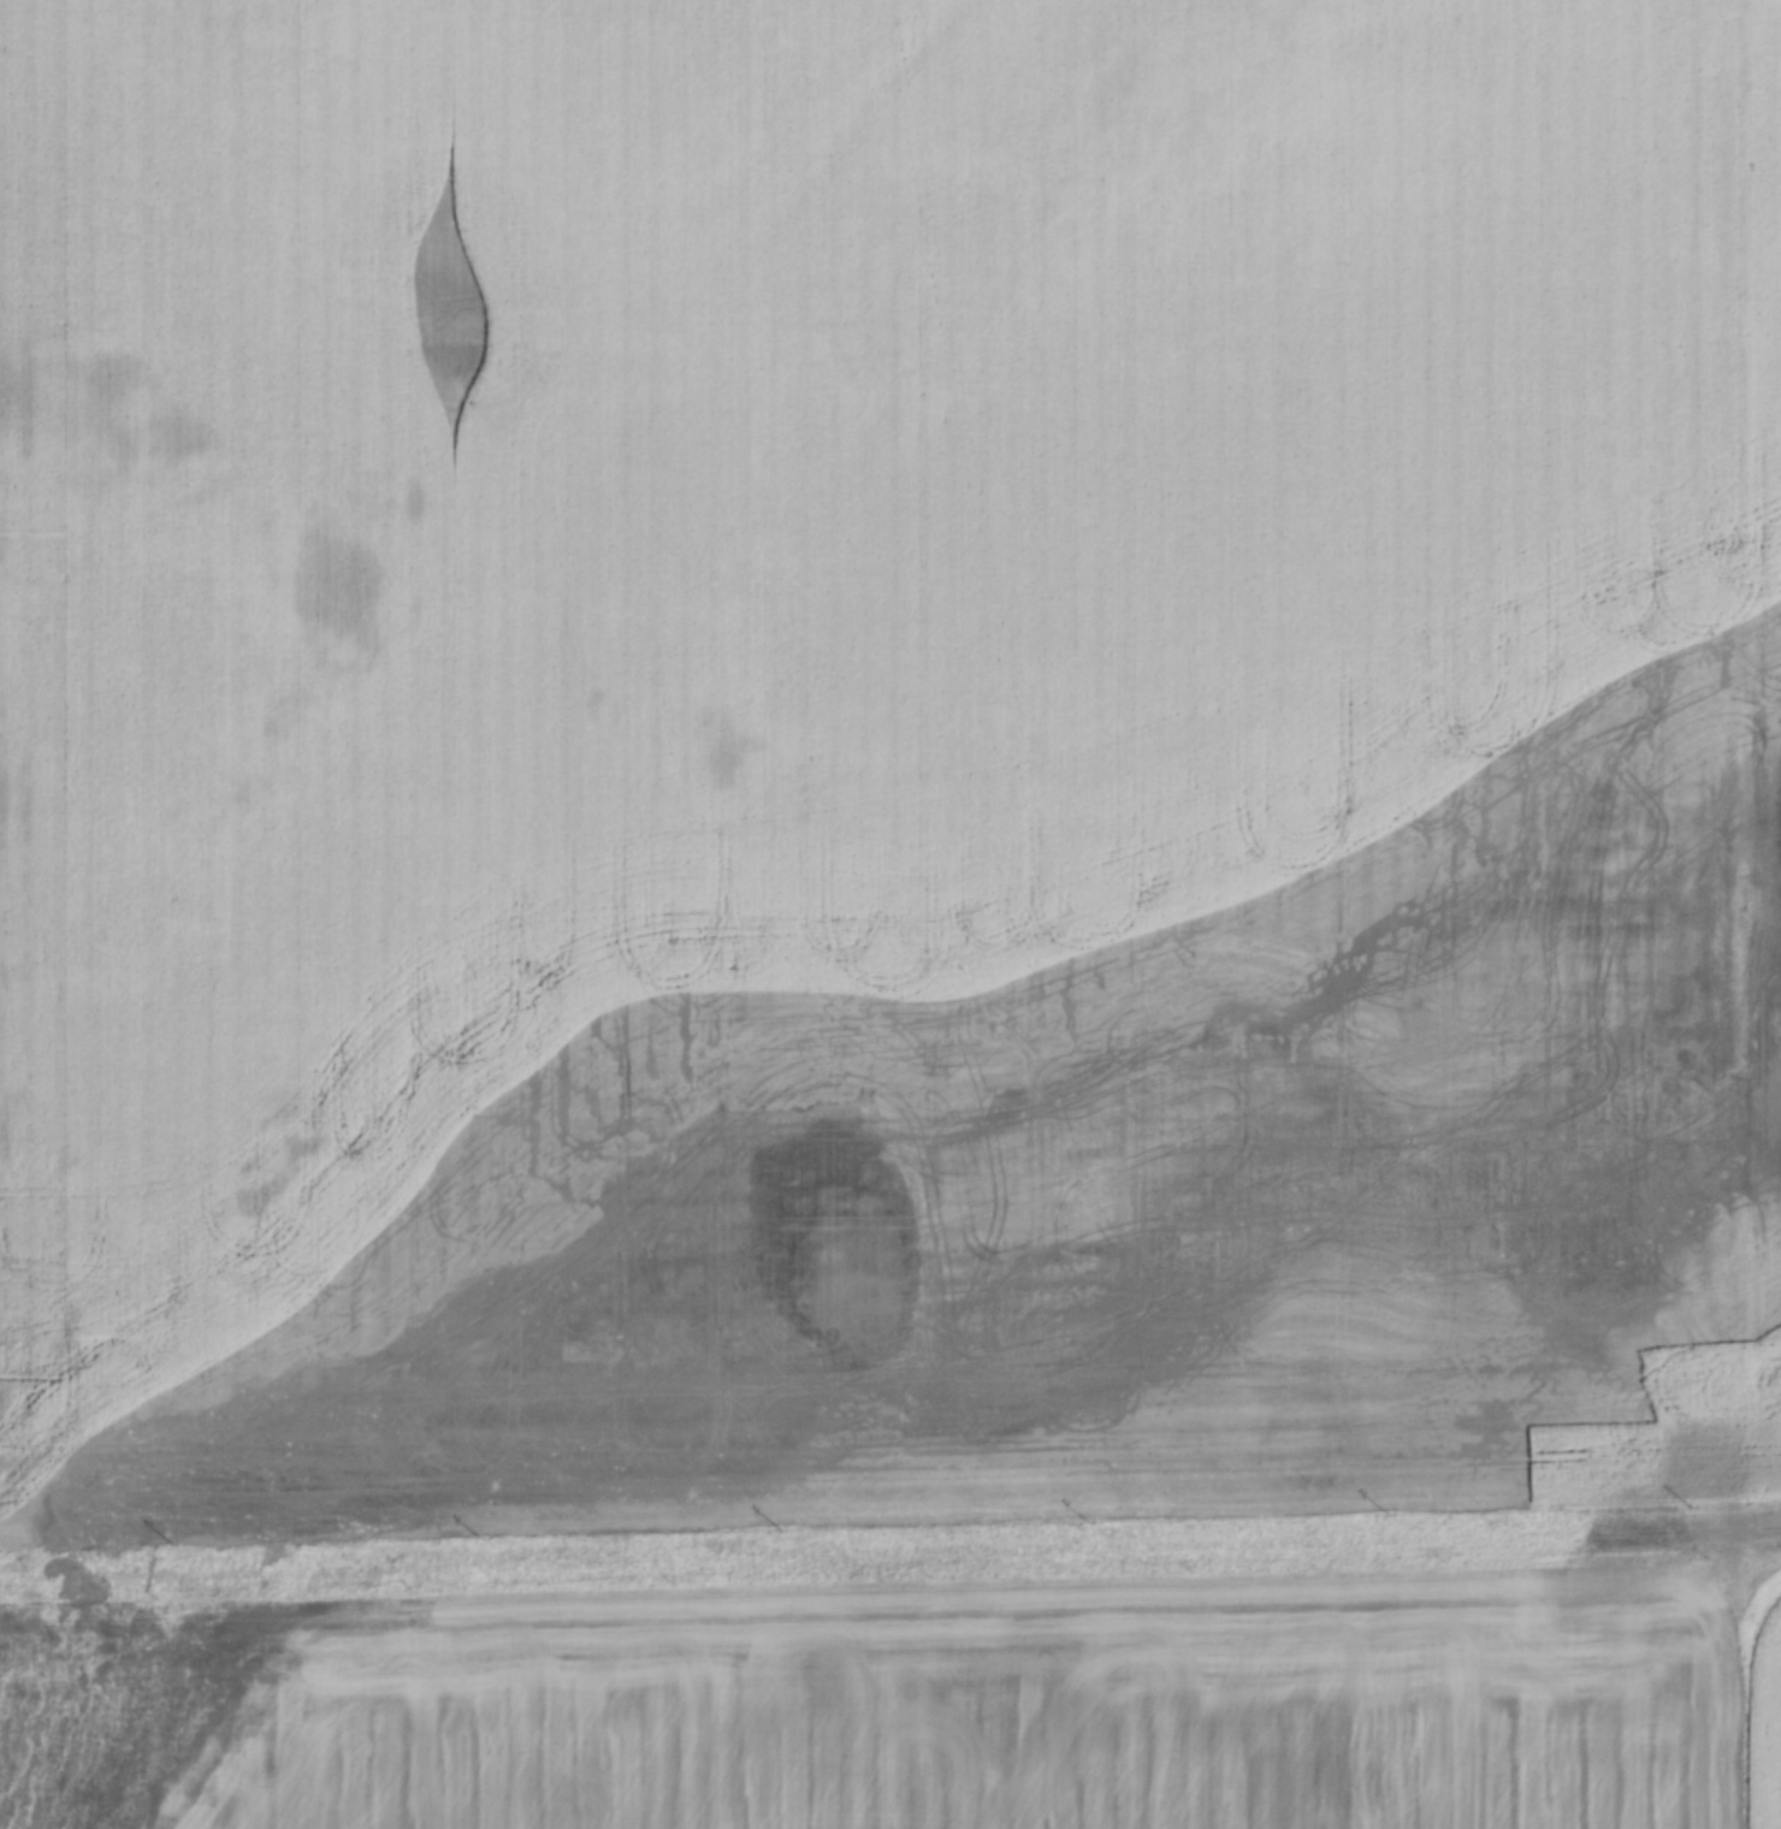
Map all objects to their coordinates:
road: (889, 1549)

